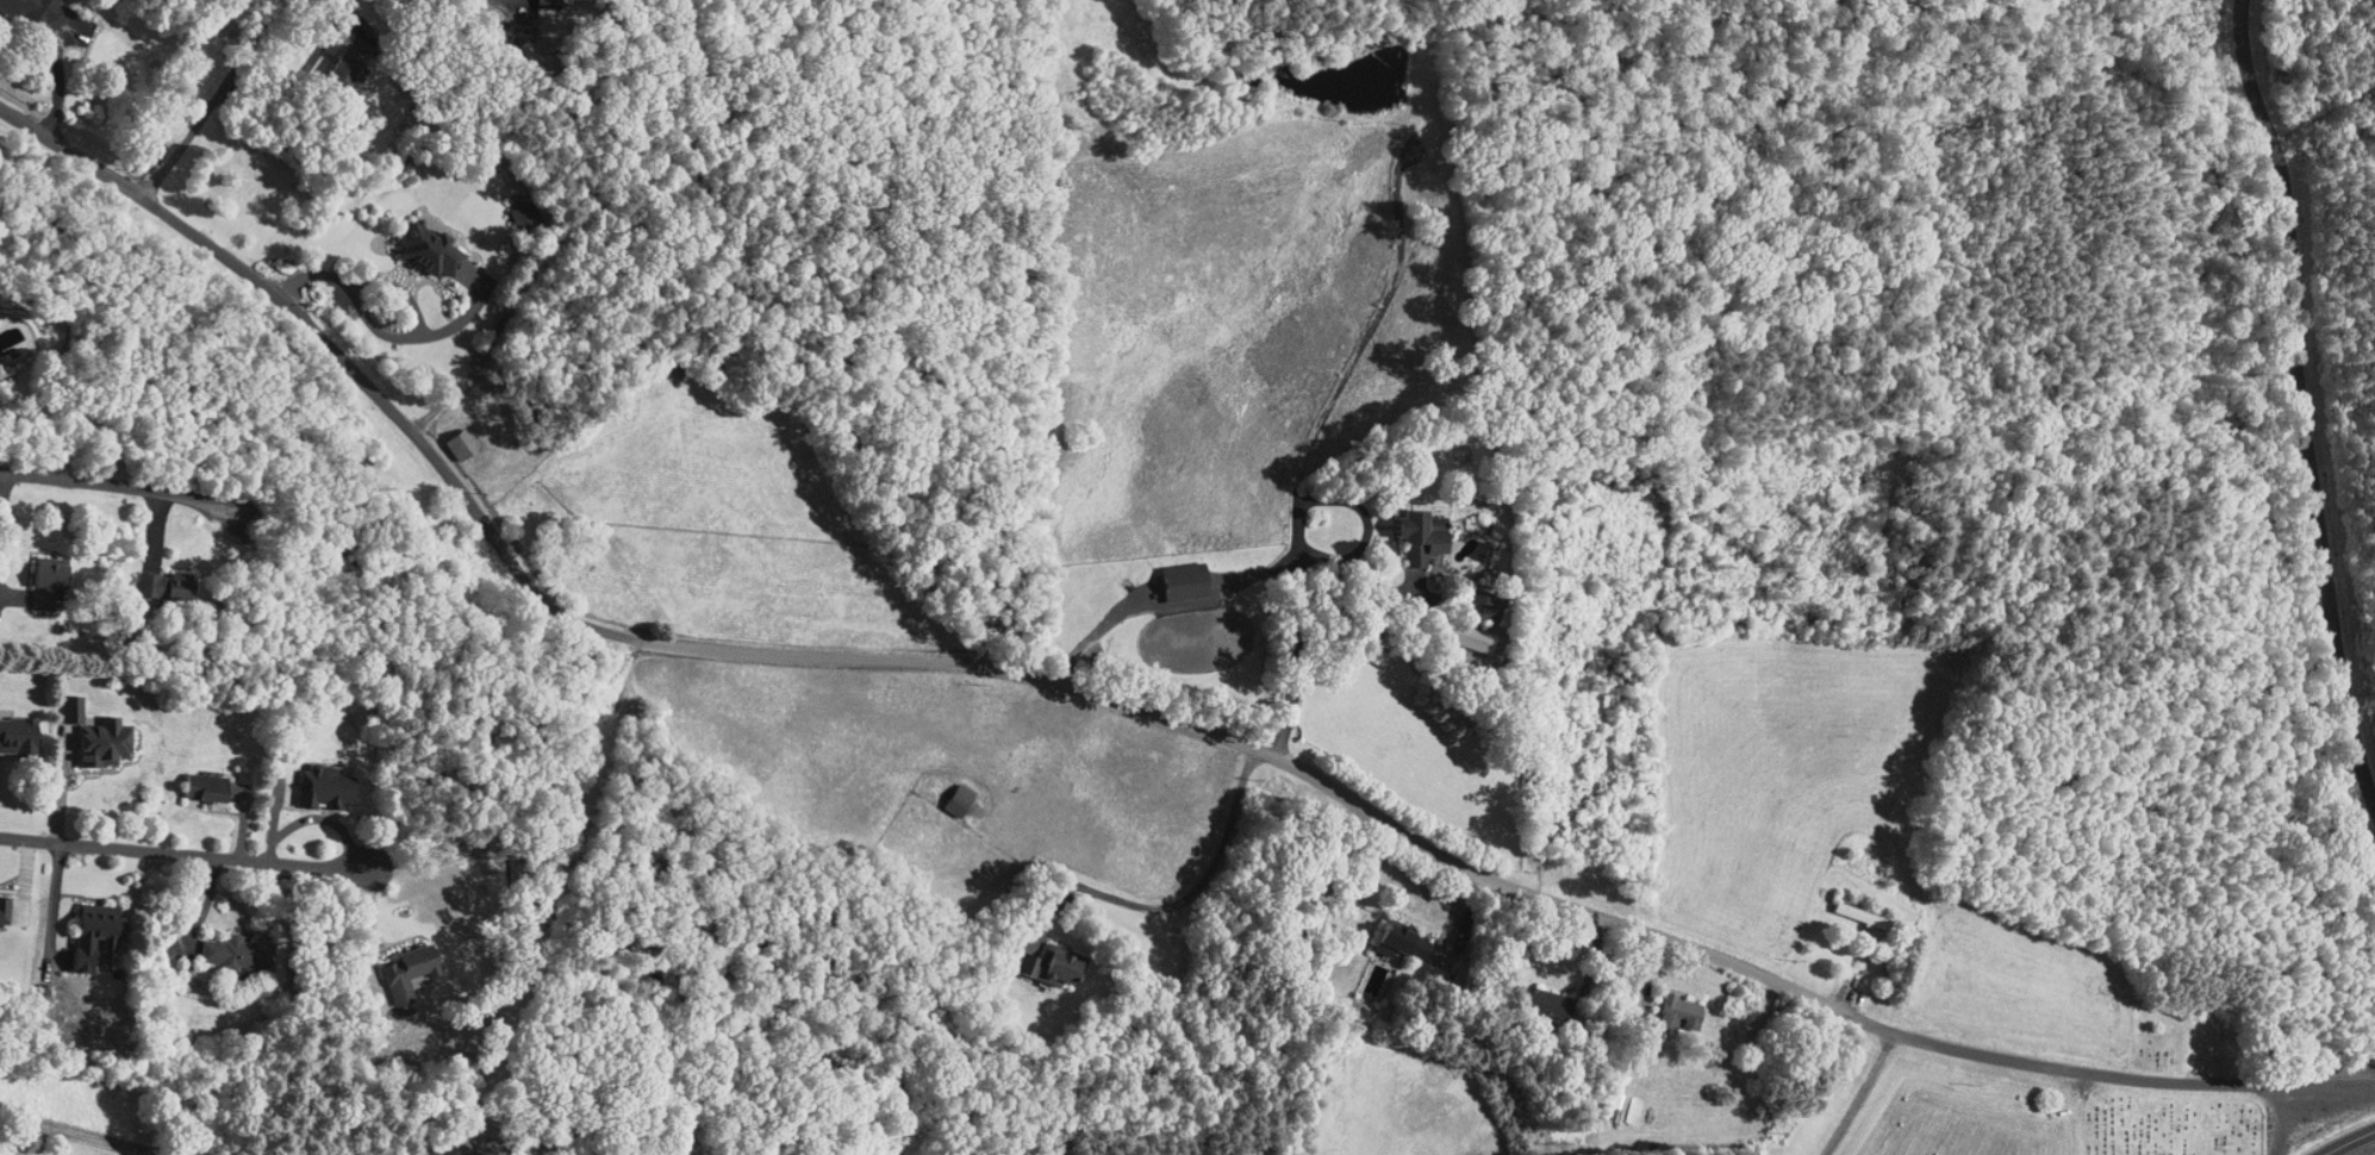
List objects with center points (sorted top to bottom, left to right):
building: (17, 6)
road: (212, 101)
building: (409, 242)
road: (298, 276)
road: (2301, 397)
building: (443, 435)
road: (135, 486)
building: (1396, 530)
building: (27, 563)
building: (1164, 572)
building: (144, 576)
road: (1255, 580)
building: (1460, 599)
building: (1455, 630)
building: (57, 700)
road: (1120, 703)
building: (8, 726)
building: (83, 732)
building: (304, 778)
building: (186, 779)
building: (941, 791)
road: (194, 855)
road: (1202, 885)
building: (73, 926)
building: (1380, 931)
building: (206, 942)
building: (1035, 957)
building: (388, 962)
building: (1528, 993)
building: (1660, 1004)
road: (1859, 1093)
building: (1609, 1101)
road: (86, 1134)
road: (2348, 1141)
building: (424, 1145)

